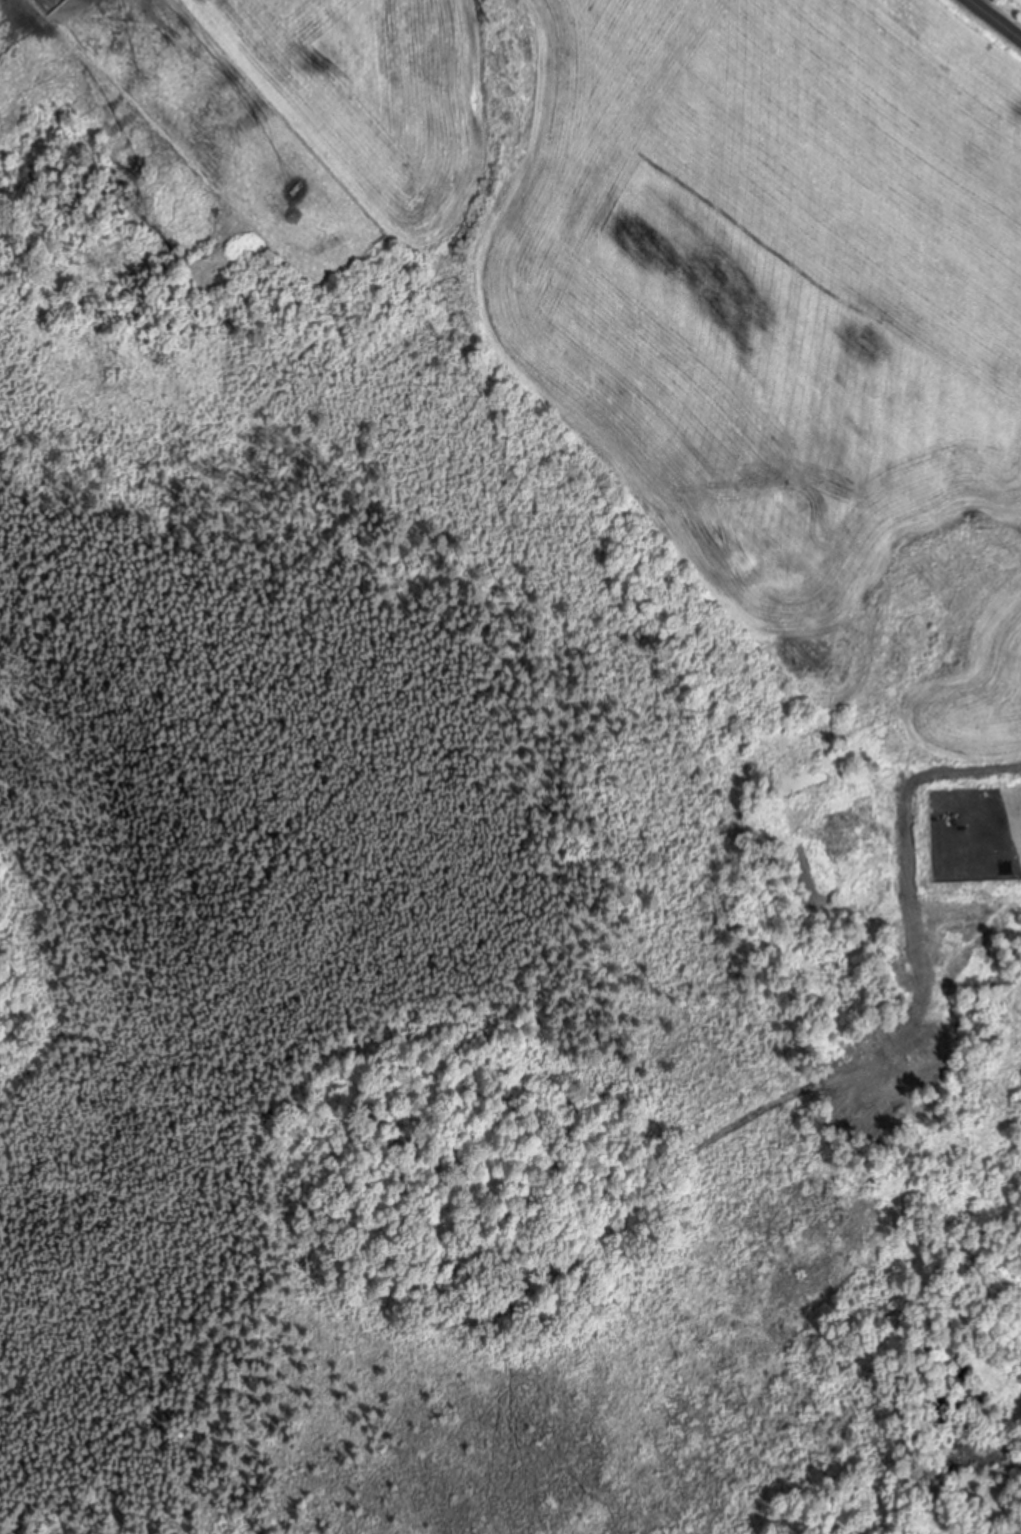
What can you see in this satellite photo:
road: (998, 16)

